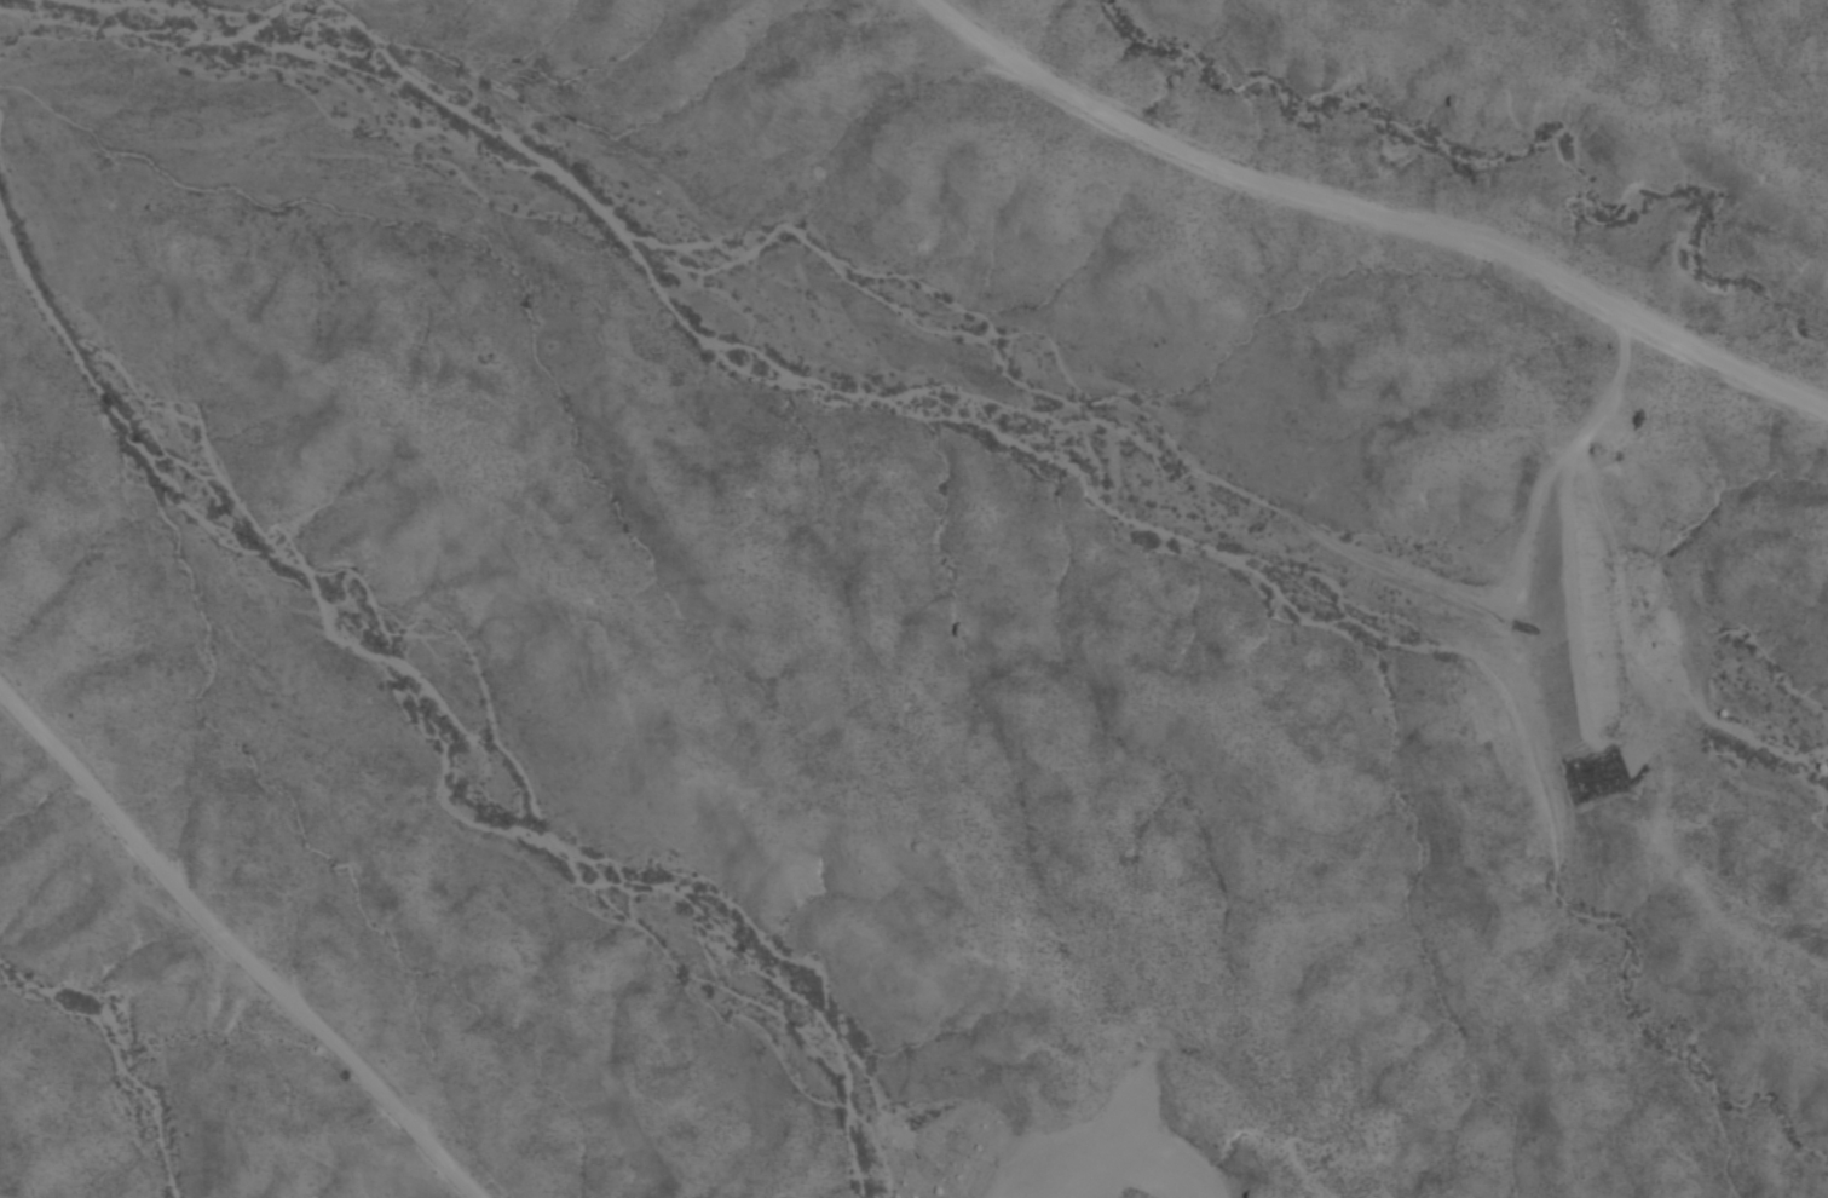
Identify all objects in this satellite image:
road: (235, 951)

